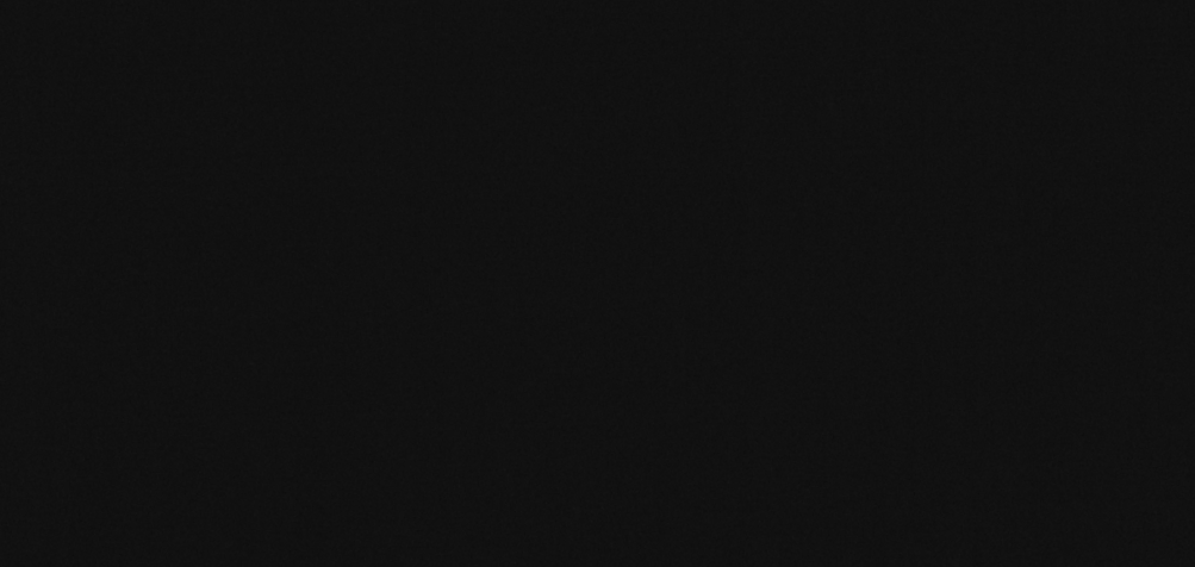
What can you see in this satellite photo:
park: (597, 283)

